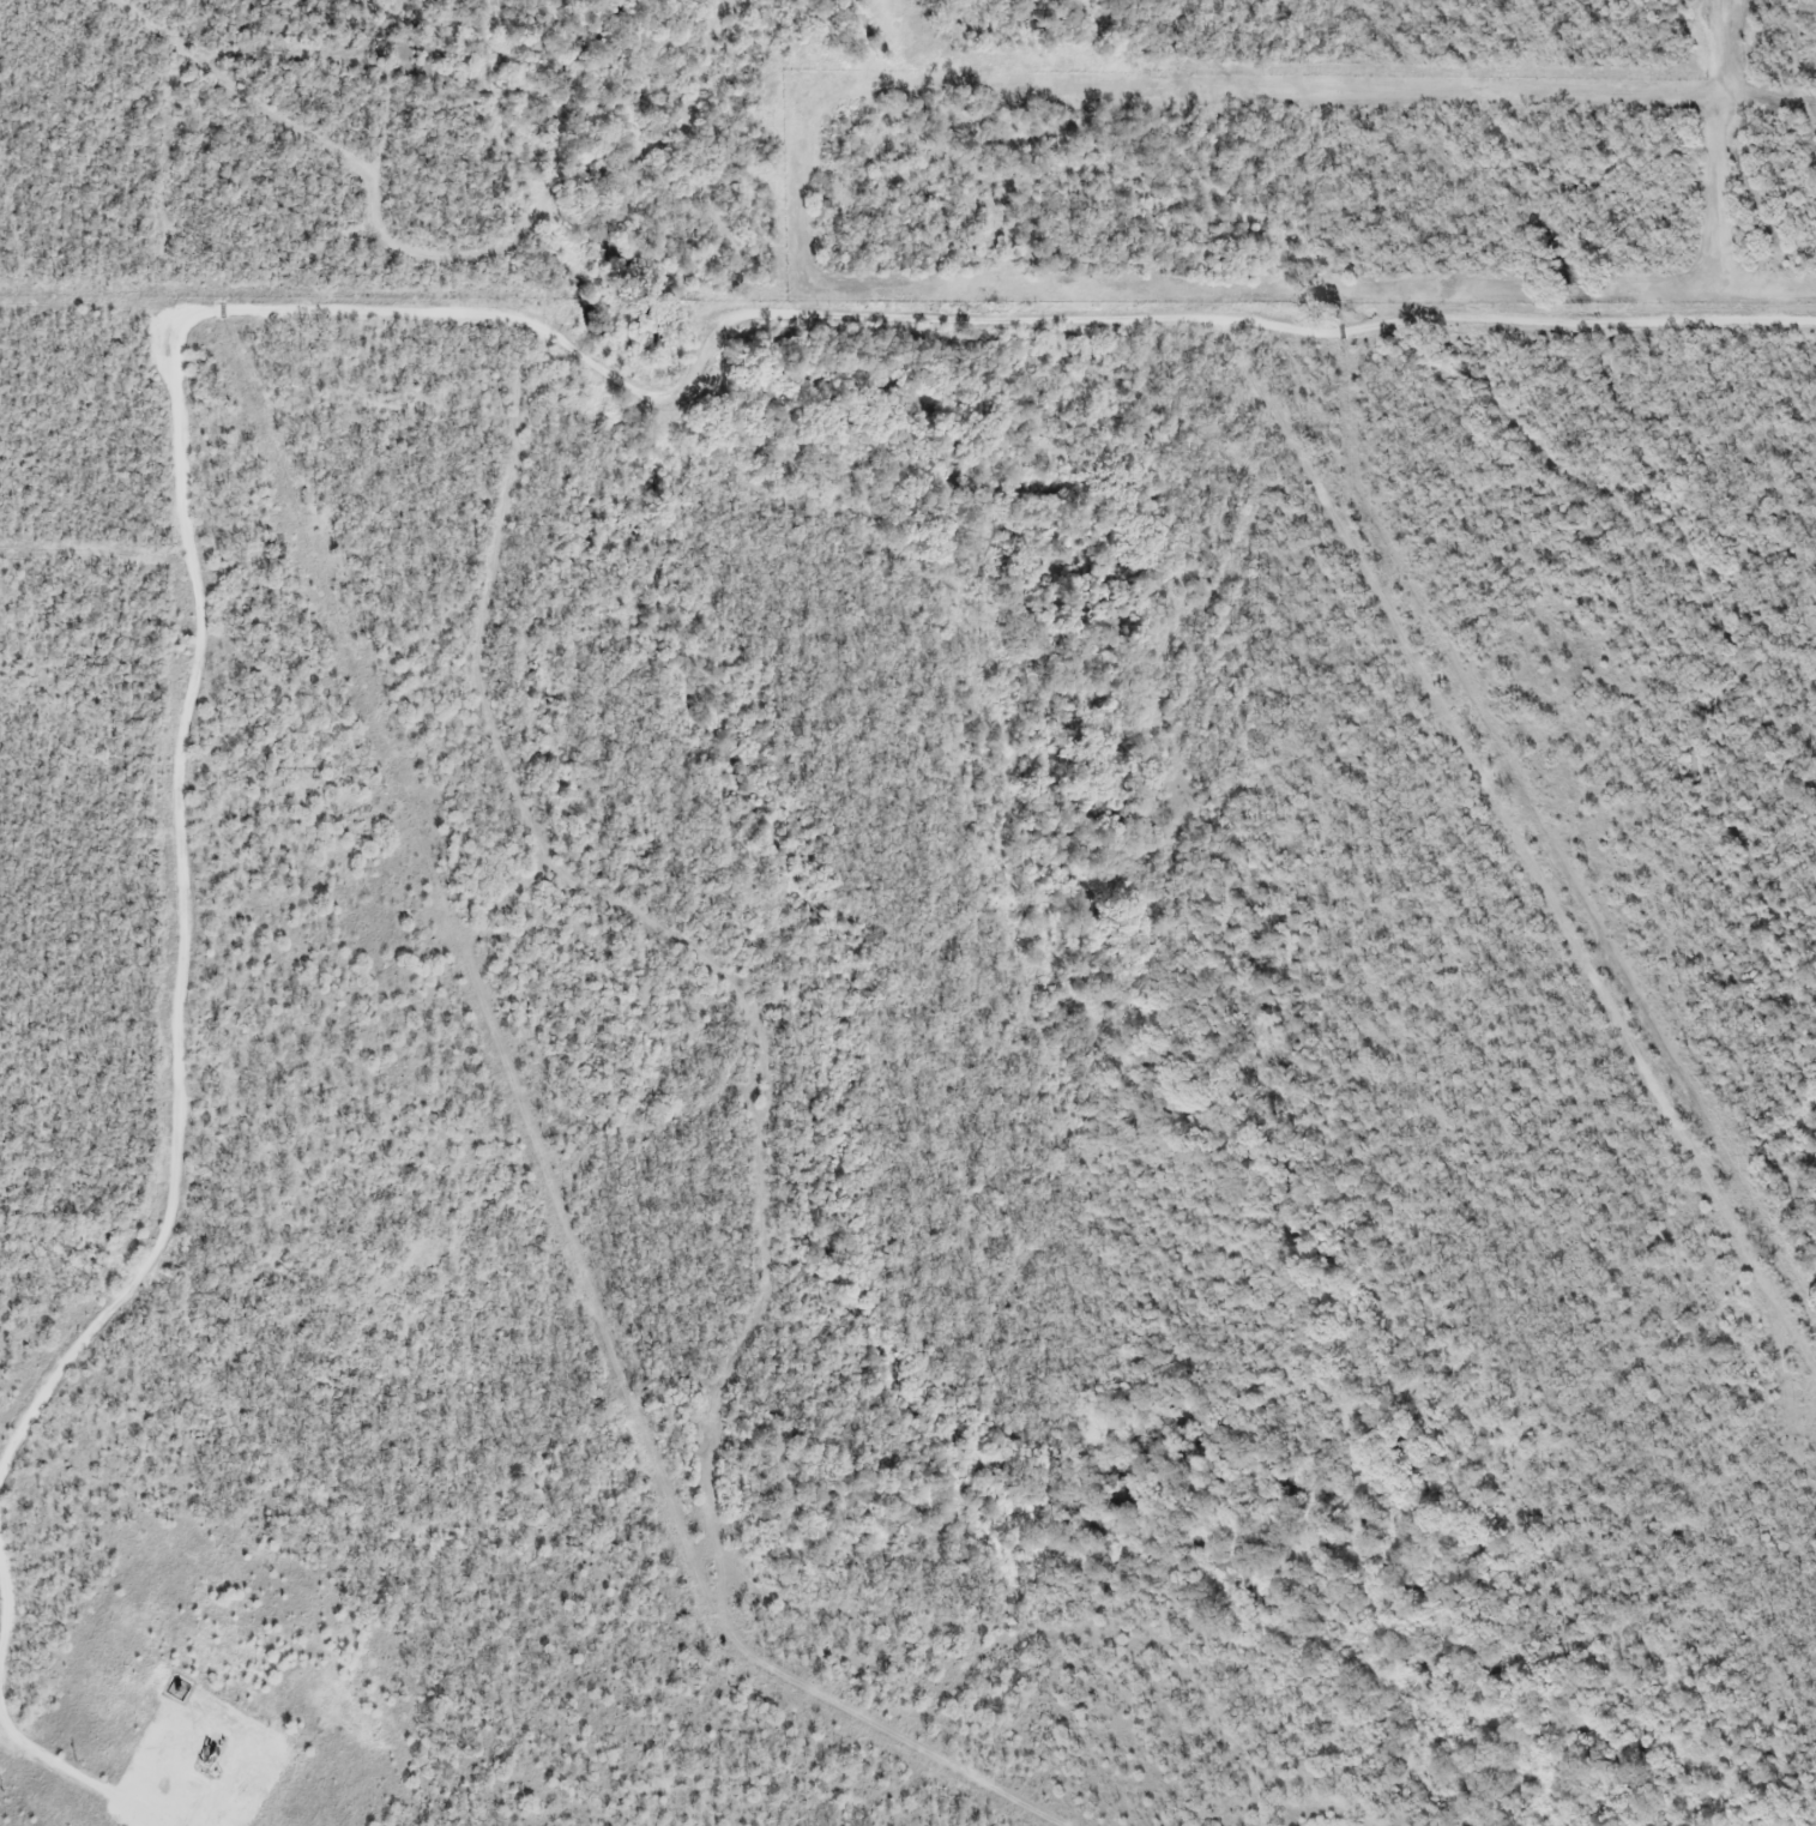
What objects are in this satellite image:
road: (424, 318)
road: (2, 1619)
road: (76, 1773)

